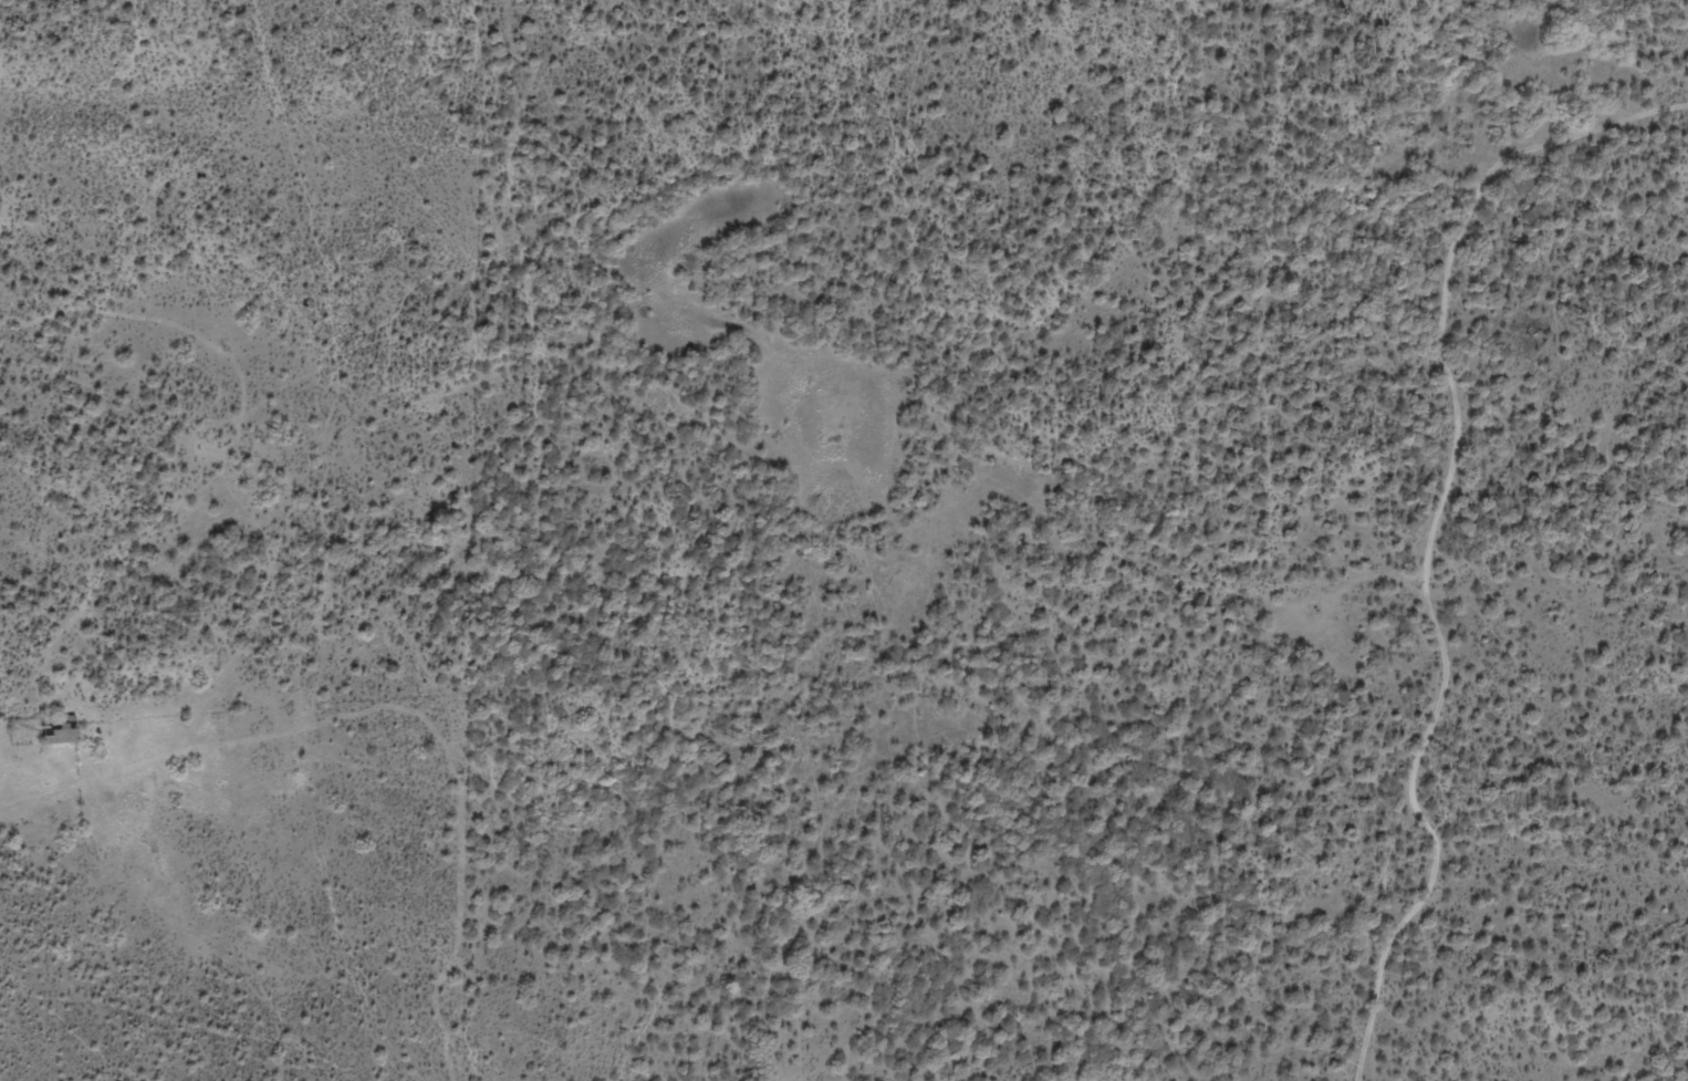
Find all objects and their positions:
road: (1453, 547)
building: (61, 734)

